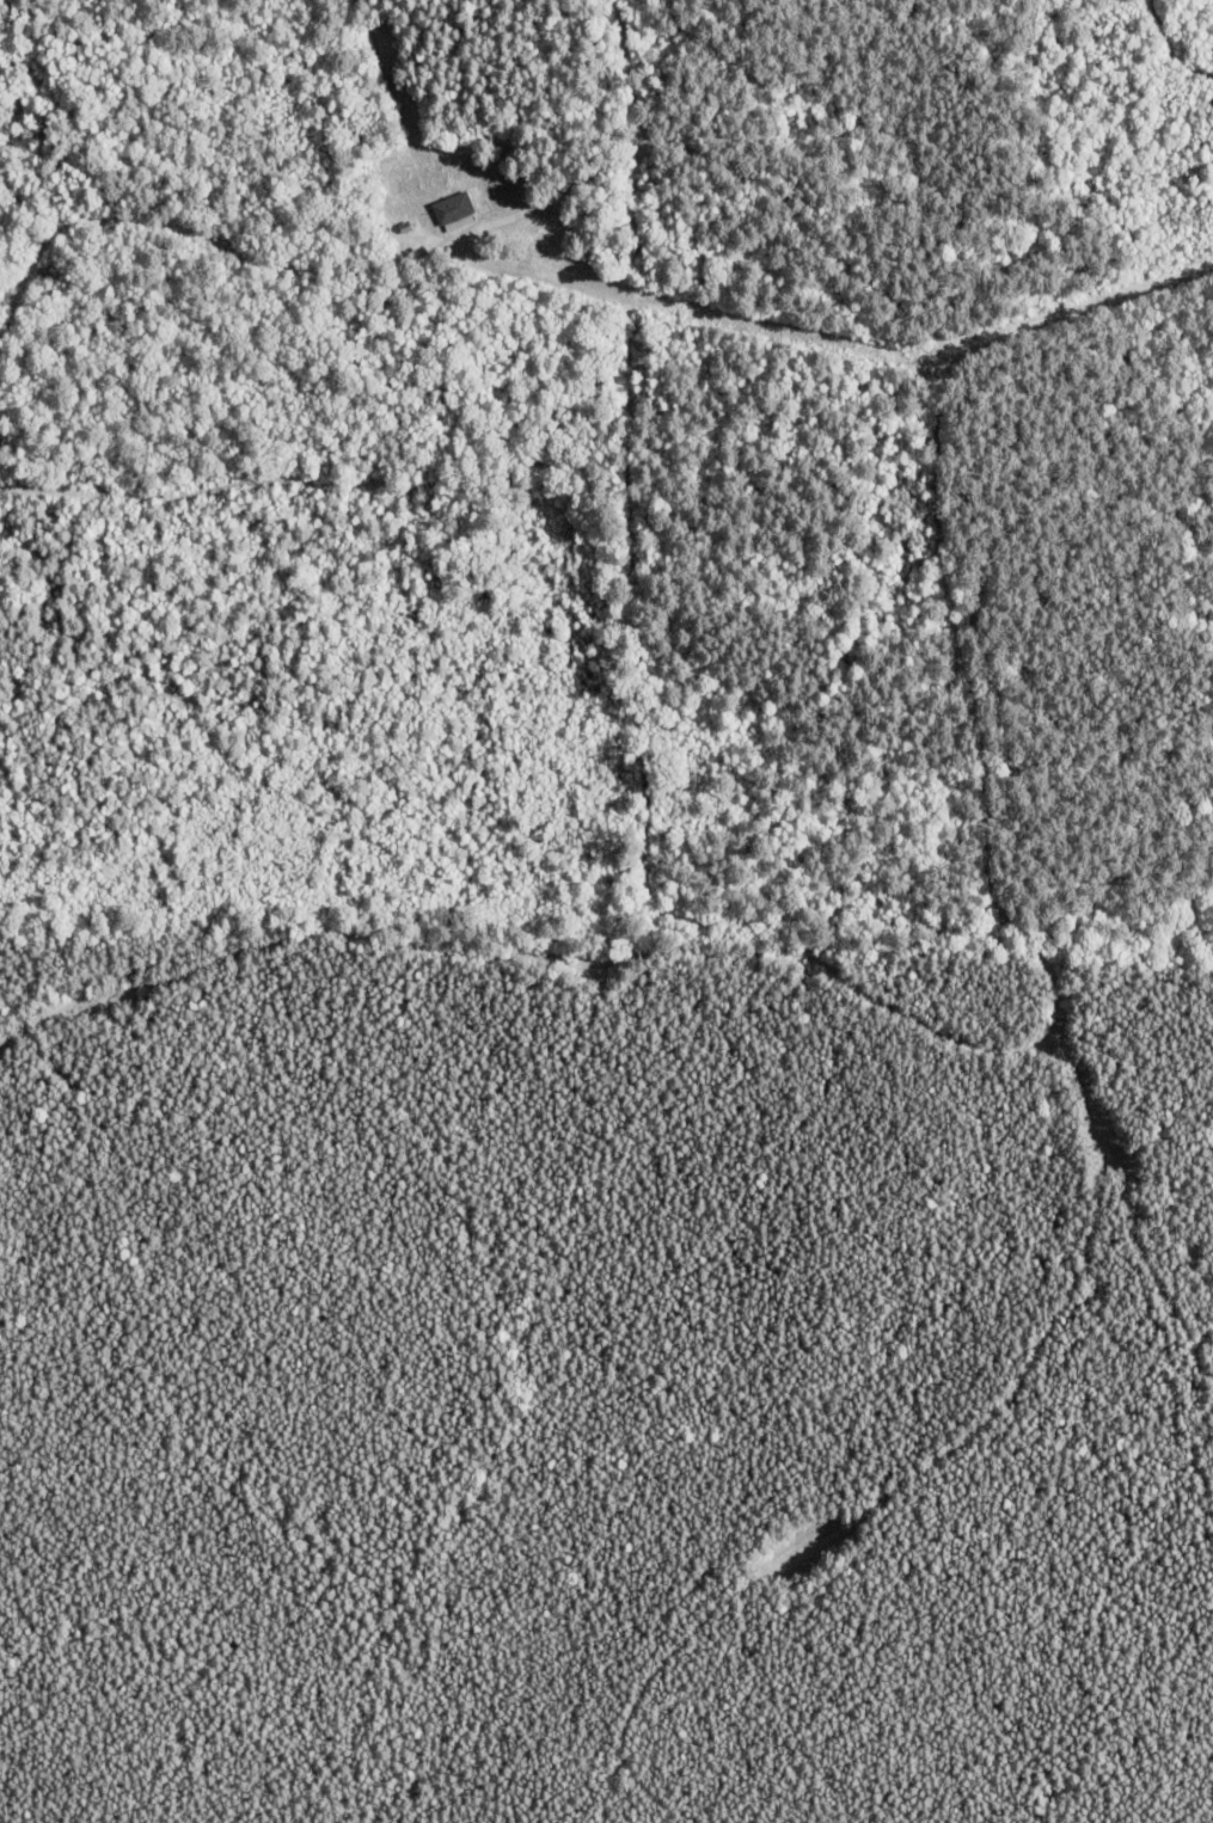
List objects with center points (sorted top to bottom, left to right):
road: (696, 147)
building: (449, 210)
road: (191, 228)
road: (774, 804)

